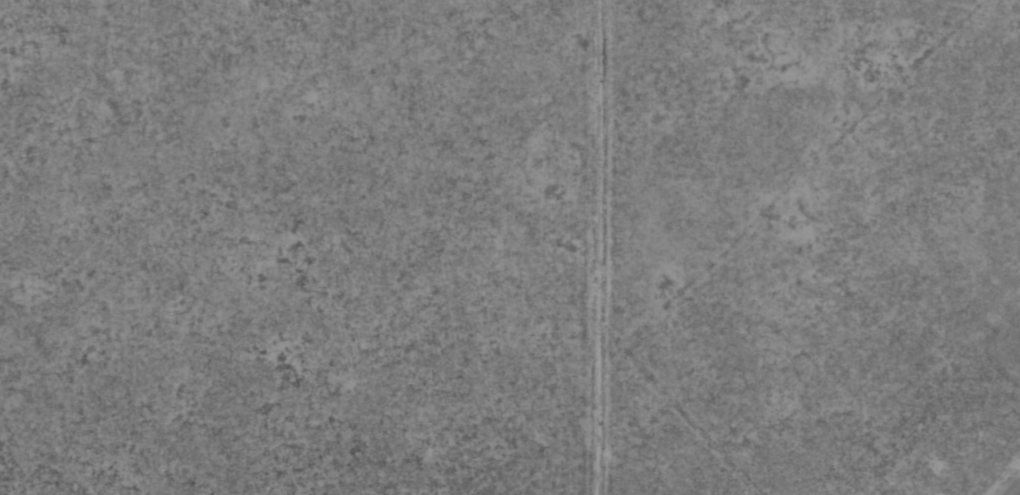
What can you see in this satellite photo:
airport: (805, 247)

